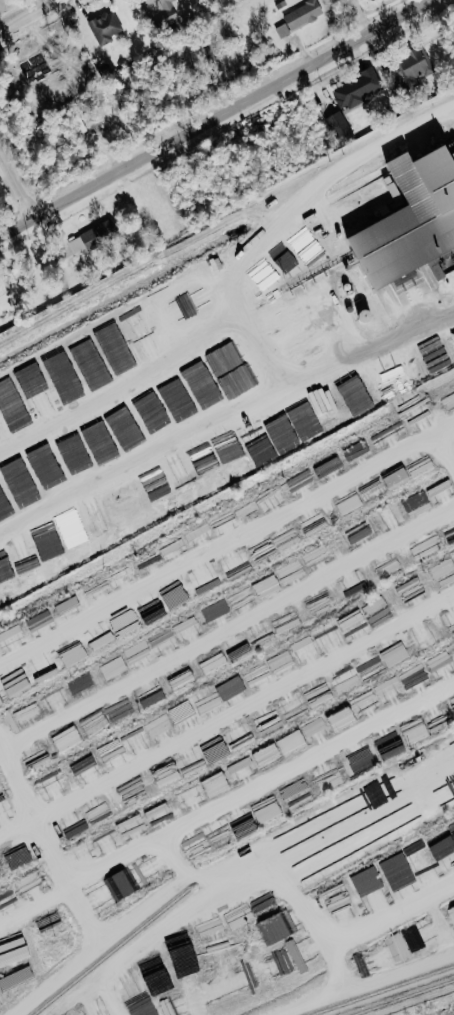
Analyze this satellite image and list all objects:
building: (164, 12)
building: (303, 13)
road: (26, 14)
building: (106, 27)
building: (283, 30)
building: (357, 88)
road: (212, 116)
building: (339, 125)
road: (19, 175)
building: (412, 223)
building: (93, 237)
road: (409, 253)
road: (229, 263)
building: (163, 317)
building: (201, 384)
building: (176, 398)
road: (223, 435)
building: (128, 436)
building: (98, 442)
road: (447, 445)
building: (355, 449)
building: (442, 493)
building: (422, 497)
building: (4, 508)
building: (390, 519)
road: (226, 552)
building: (266, 586)
building: (69, 603)
building: (40, 622)
road: (227, 638)
building: (117, 665)
building: (256, 675)
building: (415, 678)
building: (388, 690)
building: (55, 700)
building: (341, 719)
road: (221, 730)
building: (291, 742)
building: (215, 785)
building: (340, 811)
road: (317, 846)
building: (131, 878)
road: (394, 895)
road: (303, 897)
building: (451, 914)
building: (279, 926)
railway: (110, 951)
road: (337, 956)
building: (279, 963)
road: (405, 966)
building: (16, 979)
railway: (382, 990)
railway: (399, 996)
building: (106, 1009)

